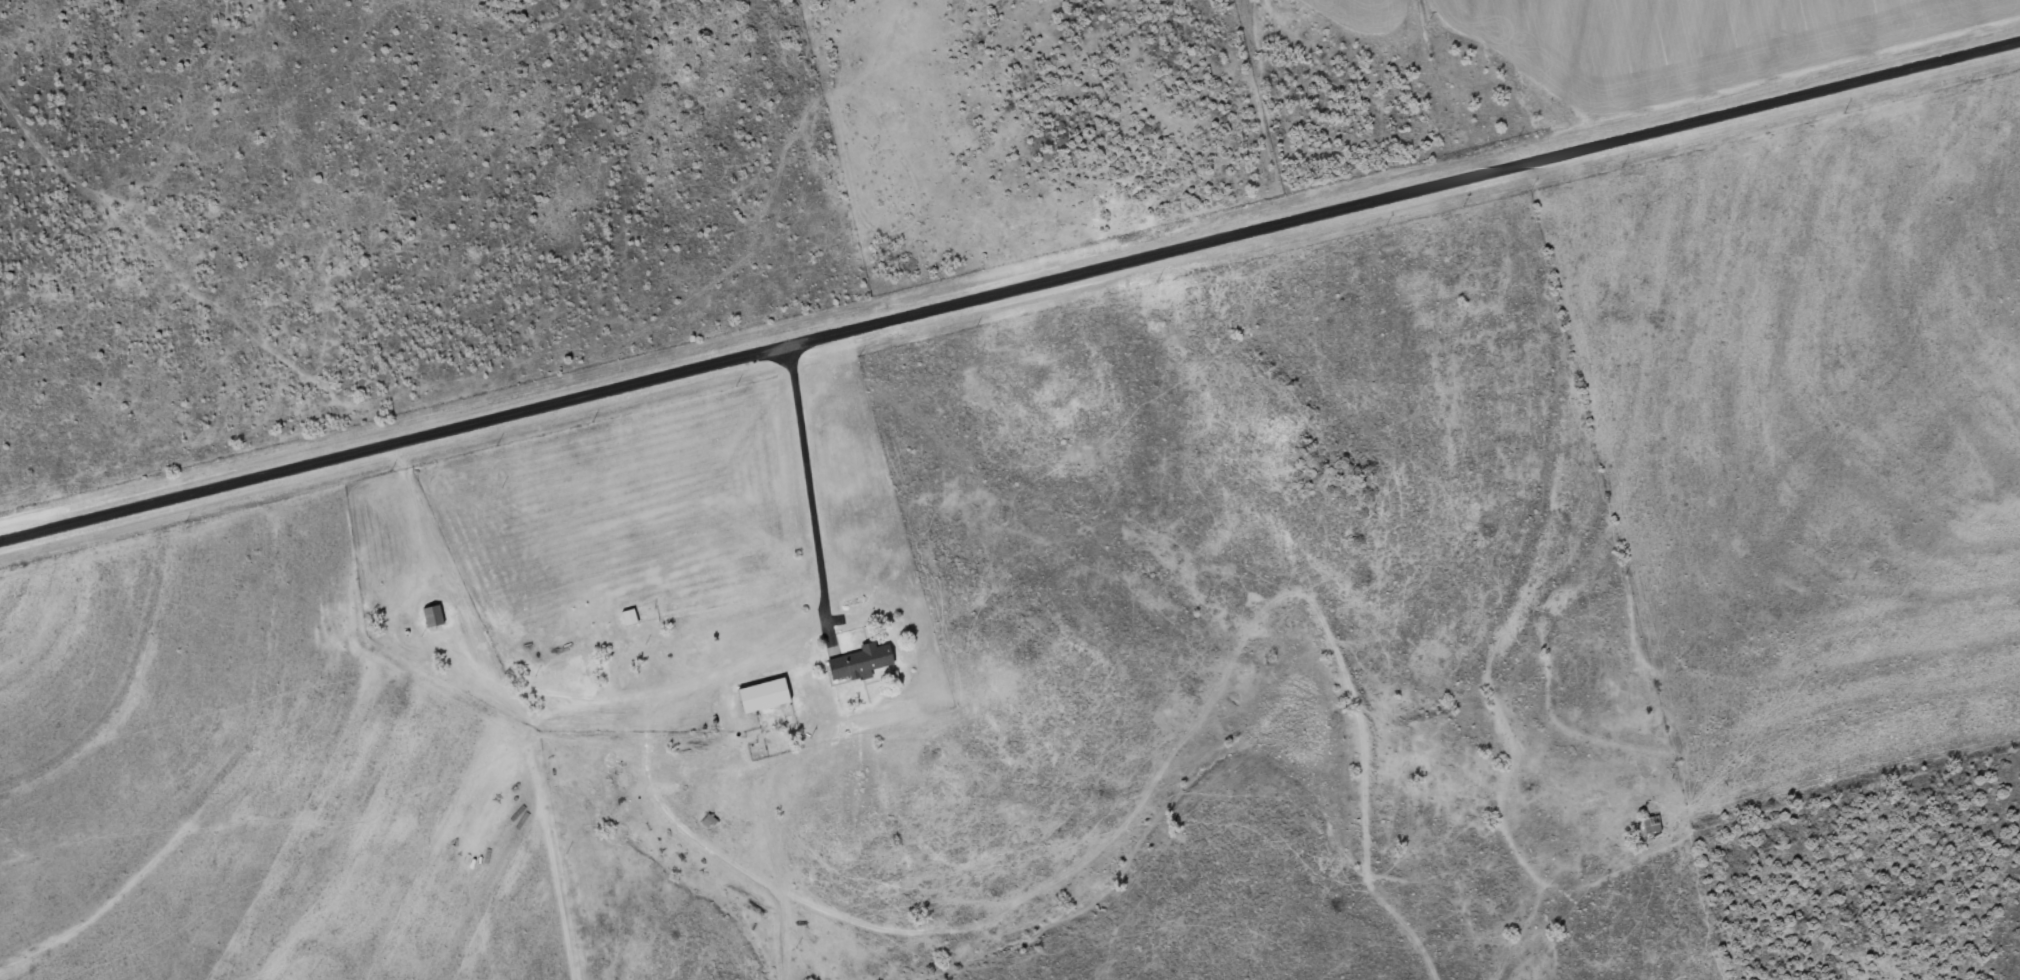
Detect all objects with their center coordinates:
road: (1010, 291)
building: (435, 615)
building: (631, 616)
building: (862, 661)
building: (766, 694)
road: (1878, 770)

